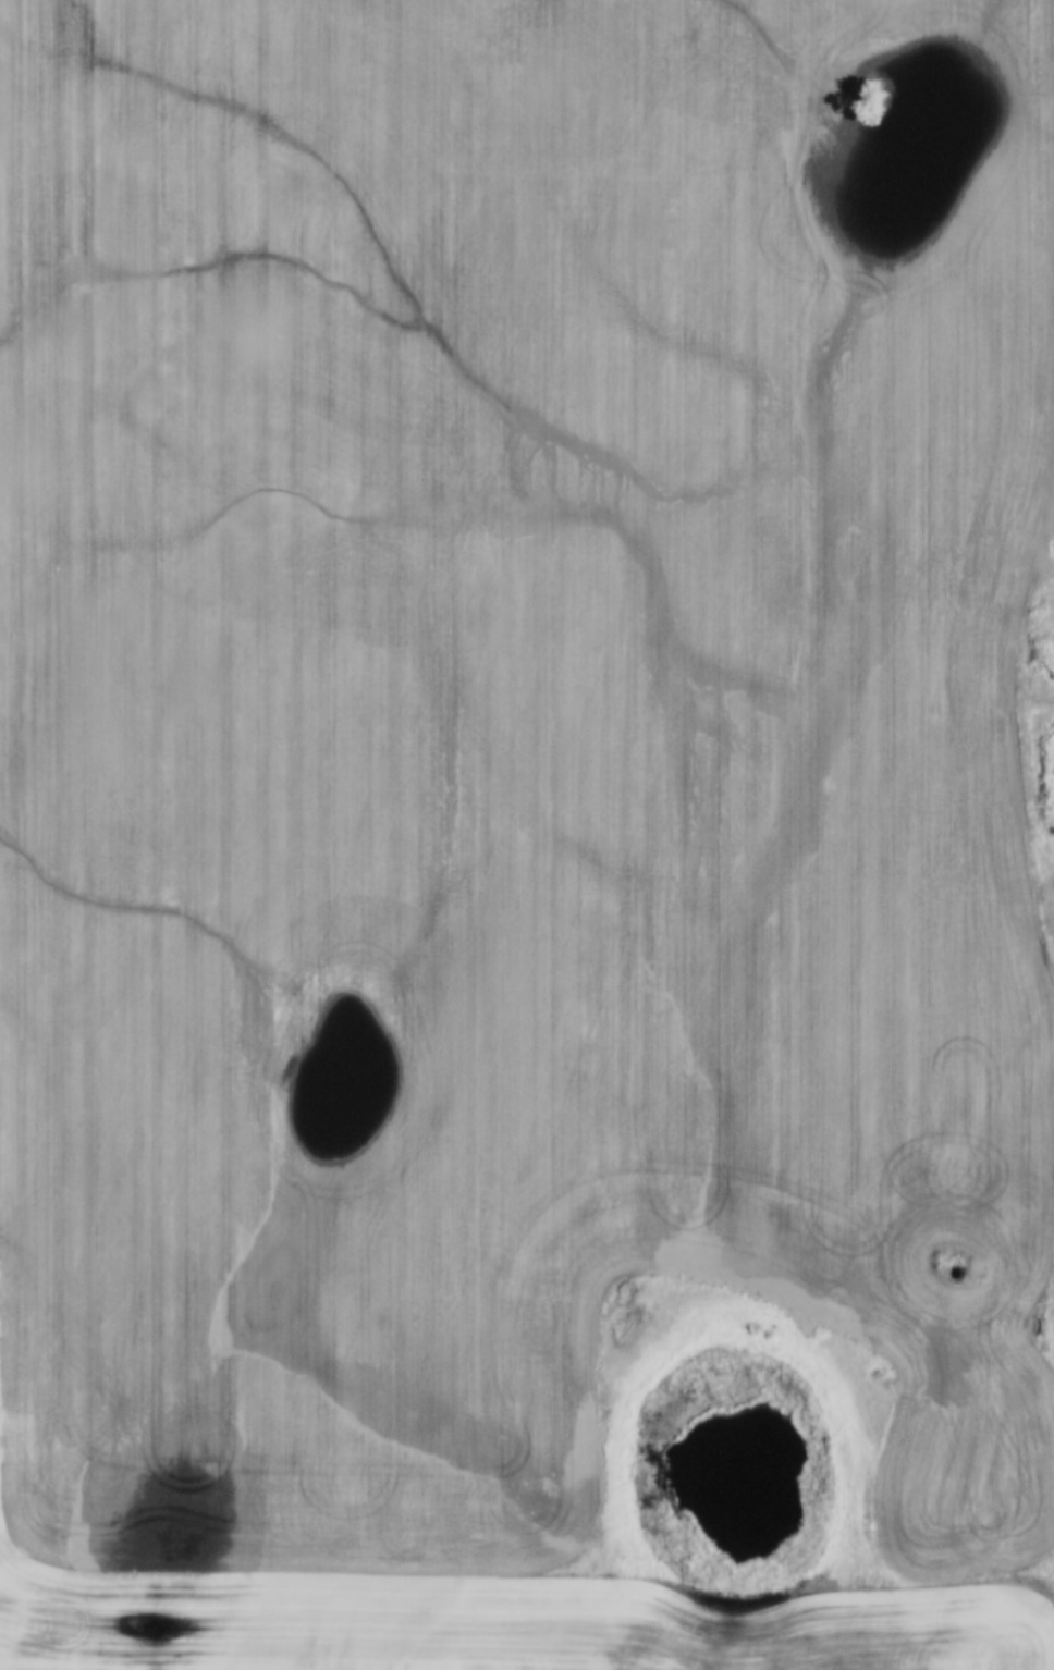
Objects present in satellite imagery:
quarry: (1030, 877)

